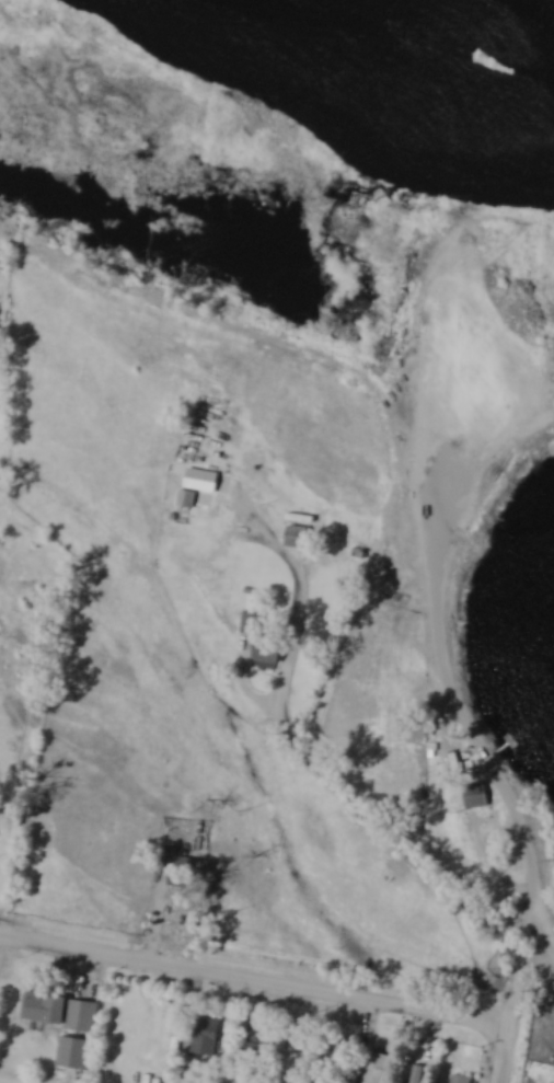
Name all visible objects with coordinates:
river: (397, 80)
building: (204, 482)
building: (298, 538)
building: (263, 640)
road: (325, 772)
building: (476, 797)
road: (529, 849)
road: (543, 959)
road: (251, 978)
road: (517, 990)
building: (62, 1013)
building: (208, 1034)
building: (258, 1041)
road: (498, 1052)
building: (73, 1053)
building: (374, 1068)
building: (461, 1080)

